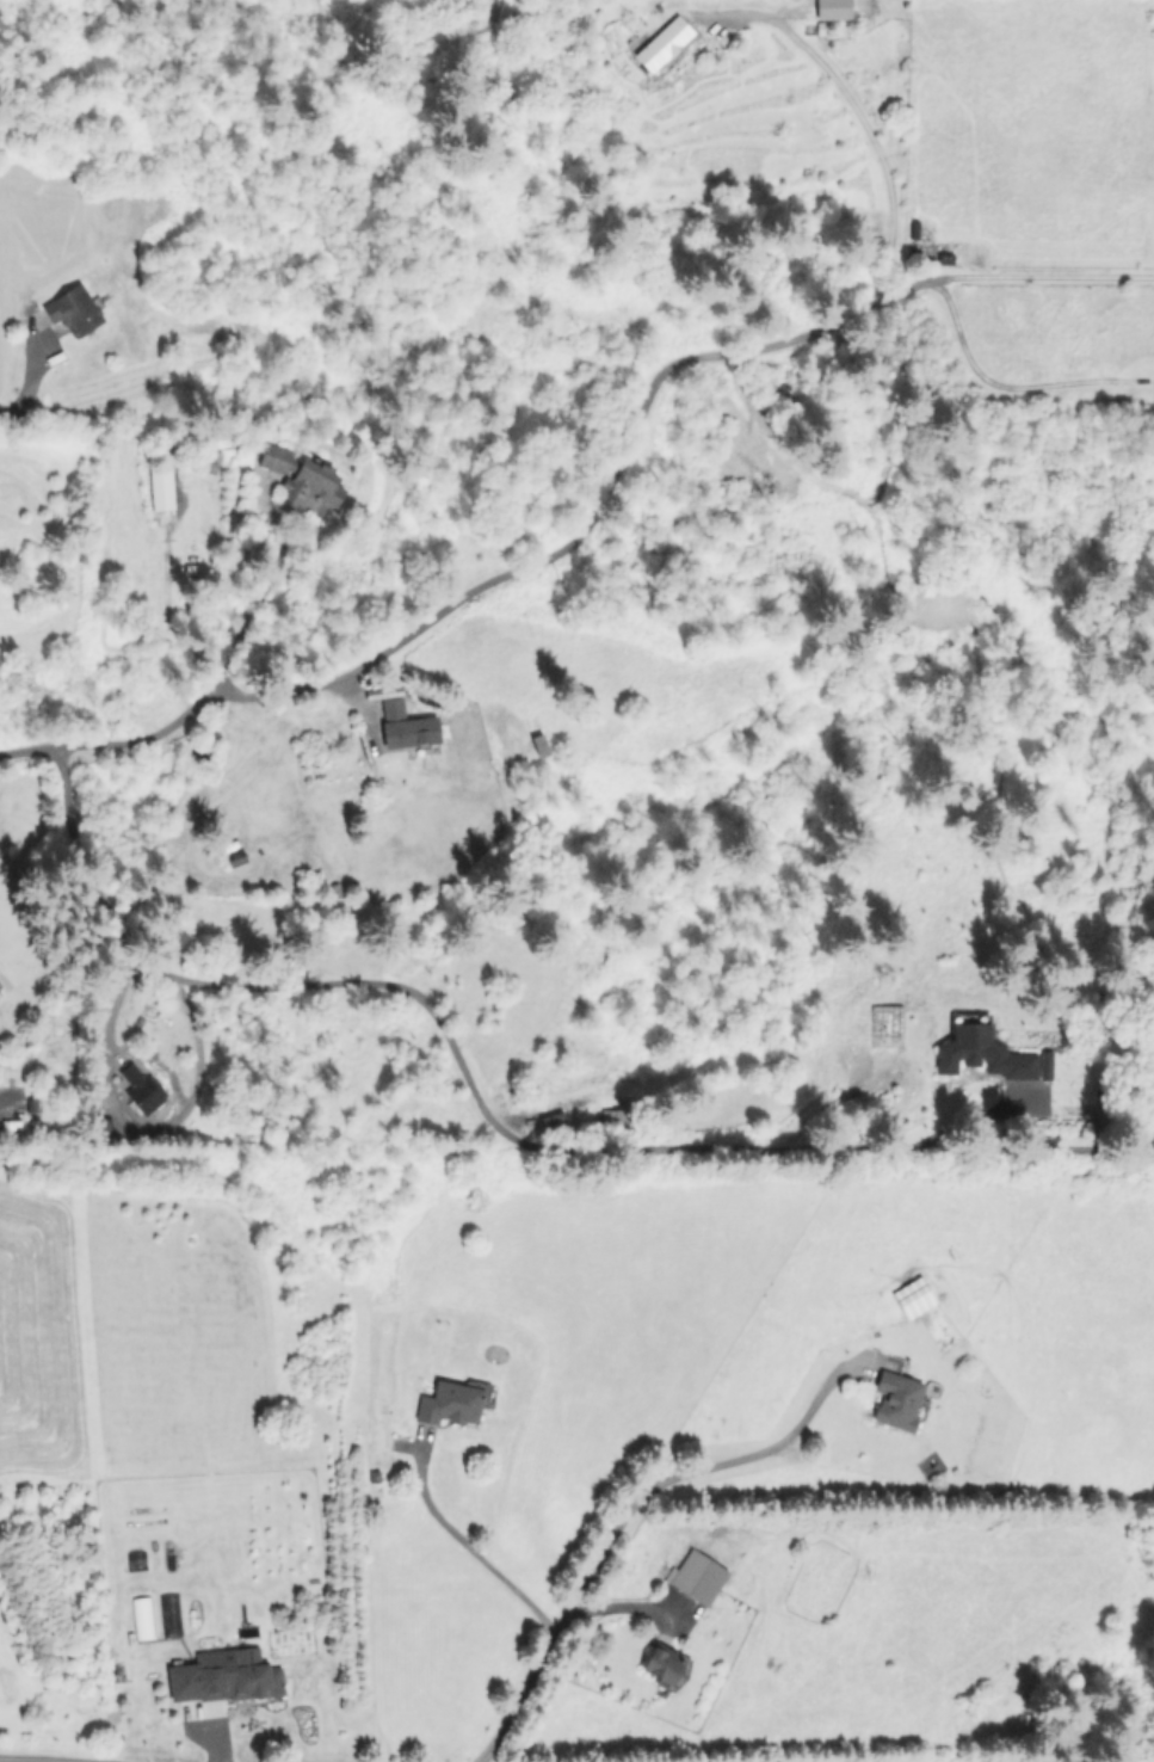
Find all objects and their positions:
building: (832, 8)
building: (662, 42)
road: (862, 122)
building: (913, 229)
road: (1049, 275)
building: (73, 309)
road: (27, 388)
road: (989, 388)
building: (302, 481)
building: (160, 487)
road: (514, 574)
road: (267, 584)
building: (405, 726)
road: (421, 1002)
building: (884, 1027)
building: (987, 1054)
building: (140, 1088)
road: (136, 1130)
building: (896, 1399)
building: (451, 1401)
road: (621, 1518)
road: (463, 1544)
building: (696, 1576)
road: (623, 1607)
building: (662, 1663)
building: (223, 1676)
road: (38, 1760)

